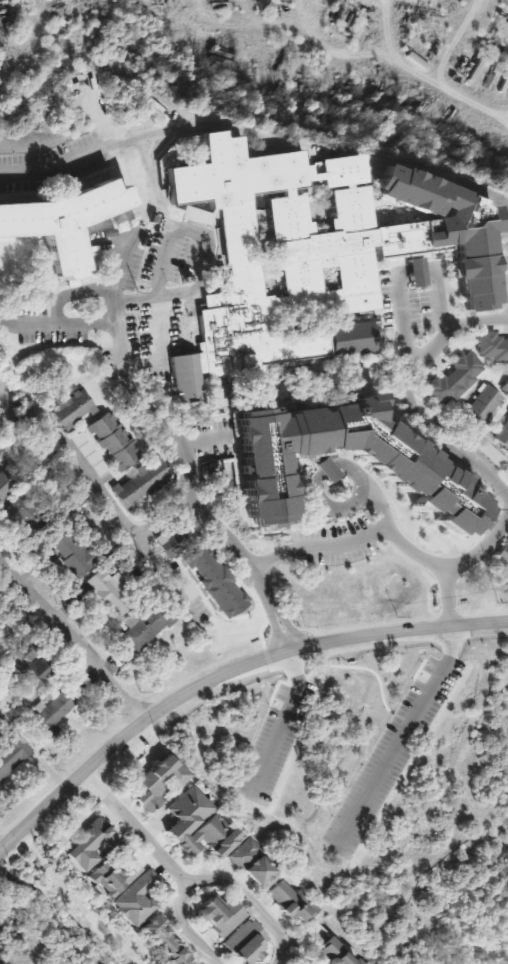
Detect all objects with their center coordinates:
road: (395, 54)
building: (339, 169)
road: (53, 170)
building: (231, 197)
building: (344, 207)
building: (283, 215)
building: (192, 216)
road: (183, 220)
building: (62, 221)
road: (502, 244)
road: (413, 271)
building: (412, 272)
building: (325, 273)
road: (435, 300)
road: (400, 320)
road: (56, 324)
building: (347, 338)
road: (439, 339)
building: (491, 346)
road: (119, 356)
building: (451, 379)
building: (504, 387)
building: (480, 405)
building: (73, 409)
building: (501, 433)
building: (112, 440)
road: (455, 452)
building: (87, 453)
building: (398, 462)
building: (324, 469)
building: (140, 481)
road: (99, 486)
building: (2, 487)
road: (319, 498)
road: (377, 502)
building: (21, 510)
road: (214, 527)
road: (353, 537)
building: (169, 540)
road: (142, 549)
building: (72, 554)
building: (502, 554)
road: (453, 563)
building: (505, 576)
building: (213, 581)
building: (181, 582)
building: (107, 590)
building: (142, 626)
road: (72, 639)
building: (29, 666)
road: (226, 672)
building: (51, 711)
road: (284, 721)
road: (404, 736)
building: (12, 754)
building: (156, 781)
building: (185, 812)
road: (135, 828)
building: (208, 837)
building: (88, 844)
building: (250, 863)
building: (111, 876)
building: (138, 897)
road: (248, 901)
building: (288, 901)
road: (75, 902)
building: (217, 914)
road: (51, 916)
road: (185, 929)
building: (163, 941)
building: (243, 941)
building: (331, 953)
building: (309, 963)

